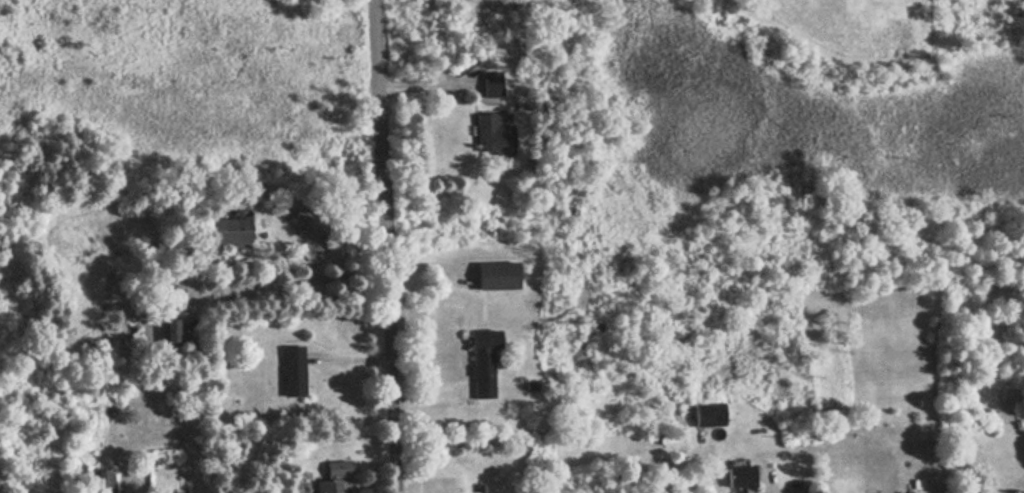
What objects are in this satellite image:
building: (492, 83)
road: (427, 86)
building: (492, 133)
building: (230, 230)
road: (383, 246)
building: (496, 275)
road: (300, 281)
building: (169, 332)
building: (482, 362)
building: (292, 371)
building: (708, 413)
building: (332, 476)
building: (740, 476)
building: (101, 481)
road: (767, 487)

